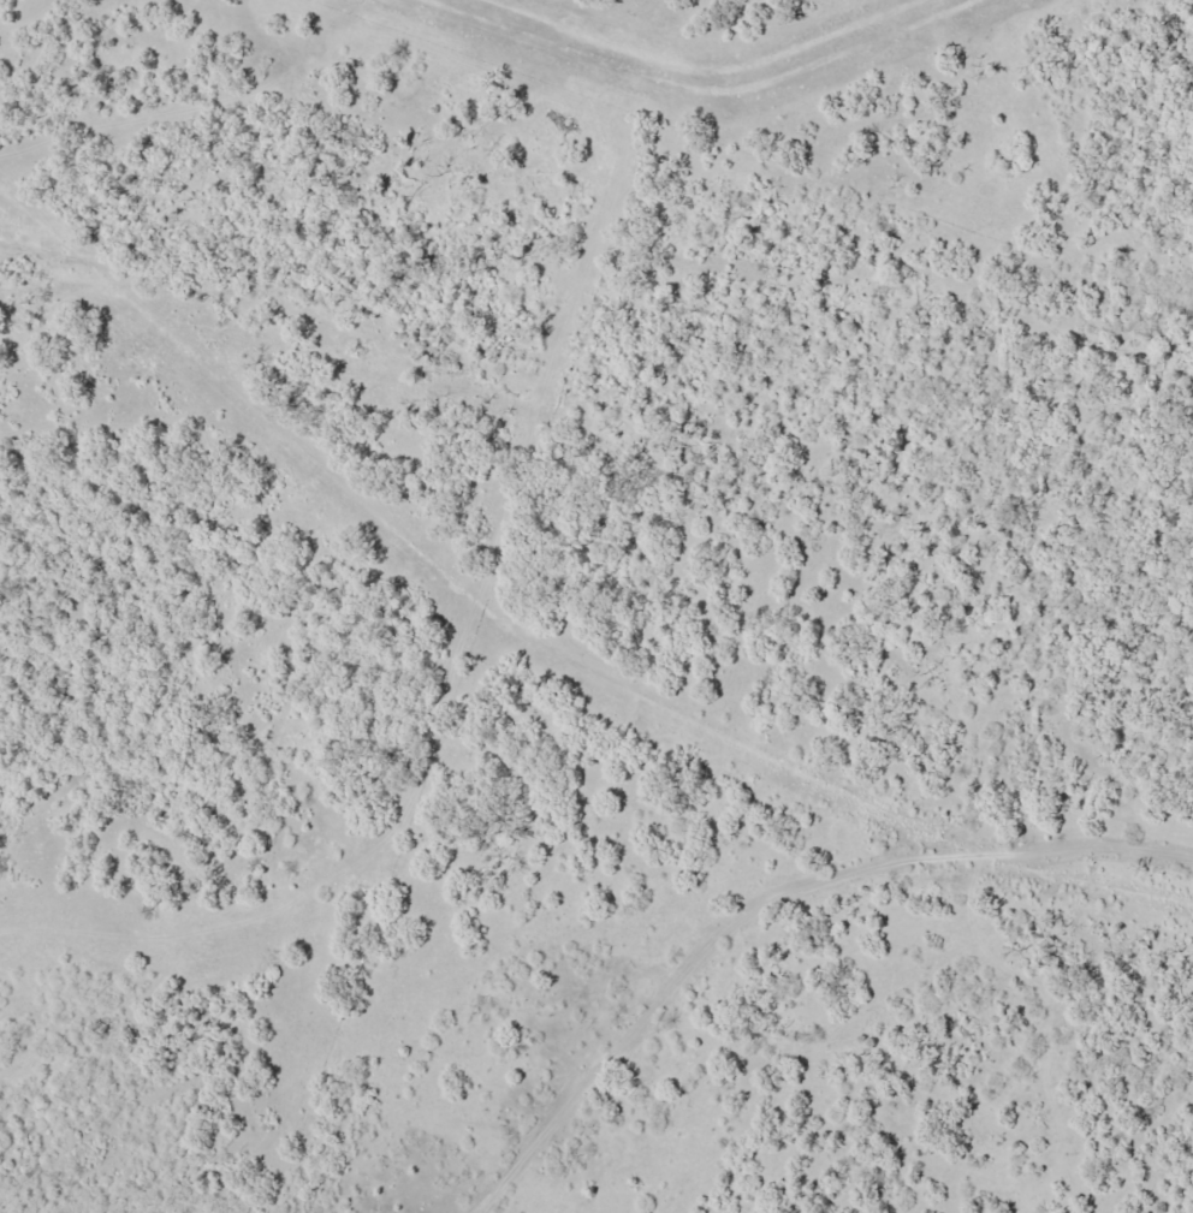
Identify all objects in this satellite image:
road: (999, 957)

